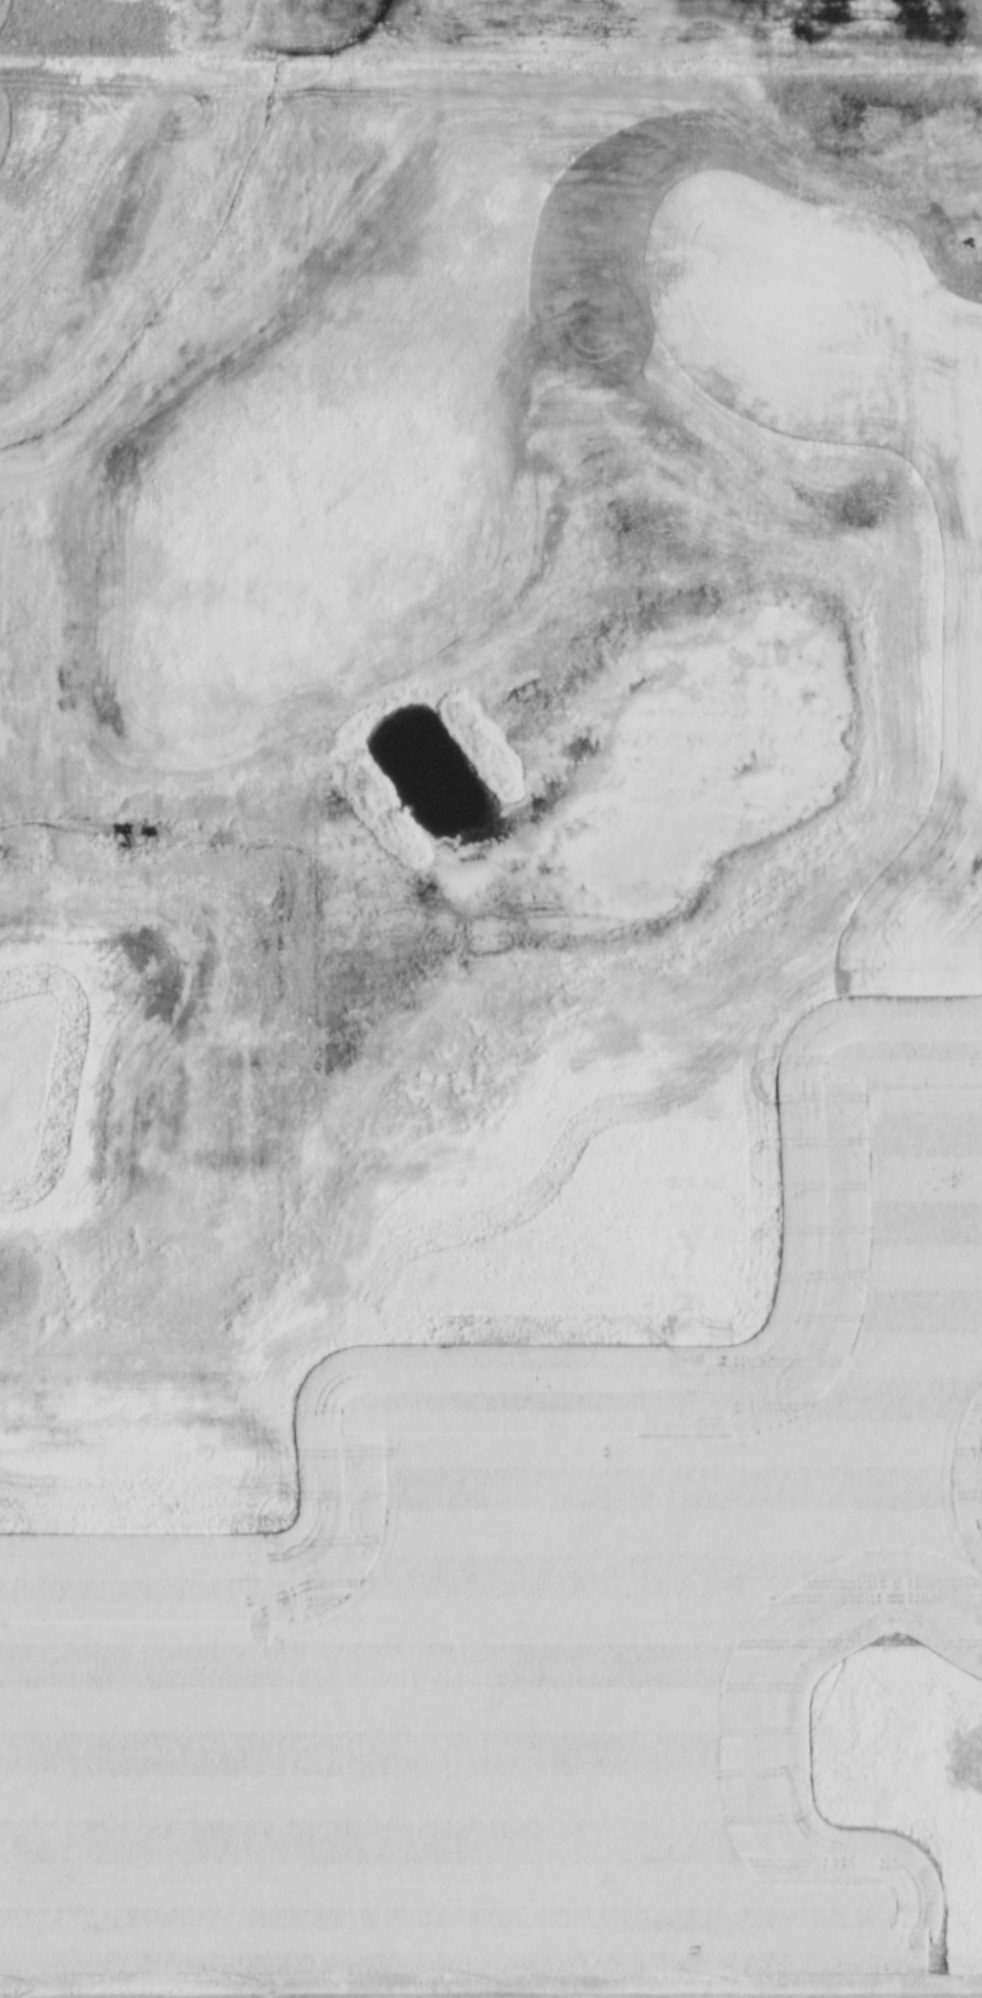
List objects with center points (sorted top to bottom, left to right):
crop: (365, 31)
road: (915, 248)

